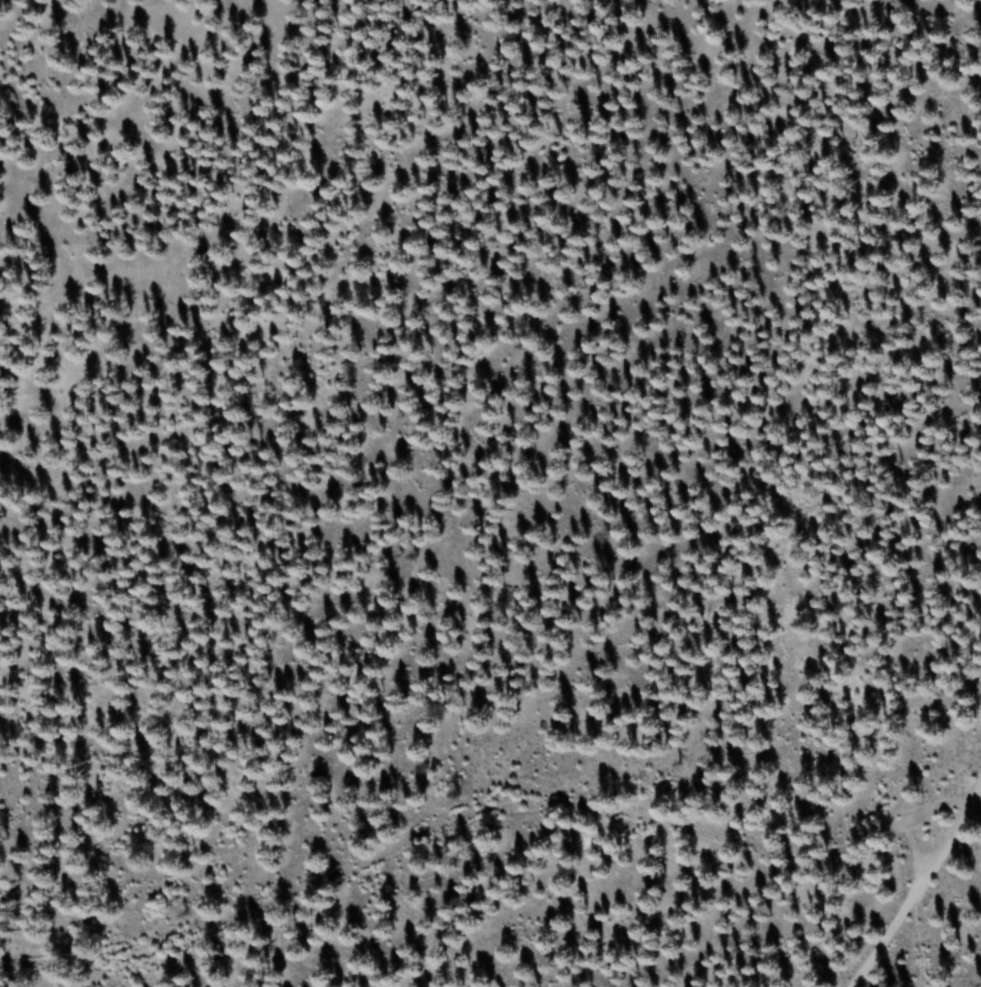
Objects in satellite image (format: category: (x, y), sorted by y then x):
road: (921, 886)

